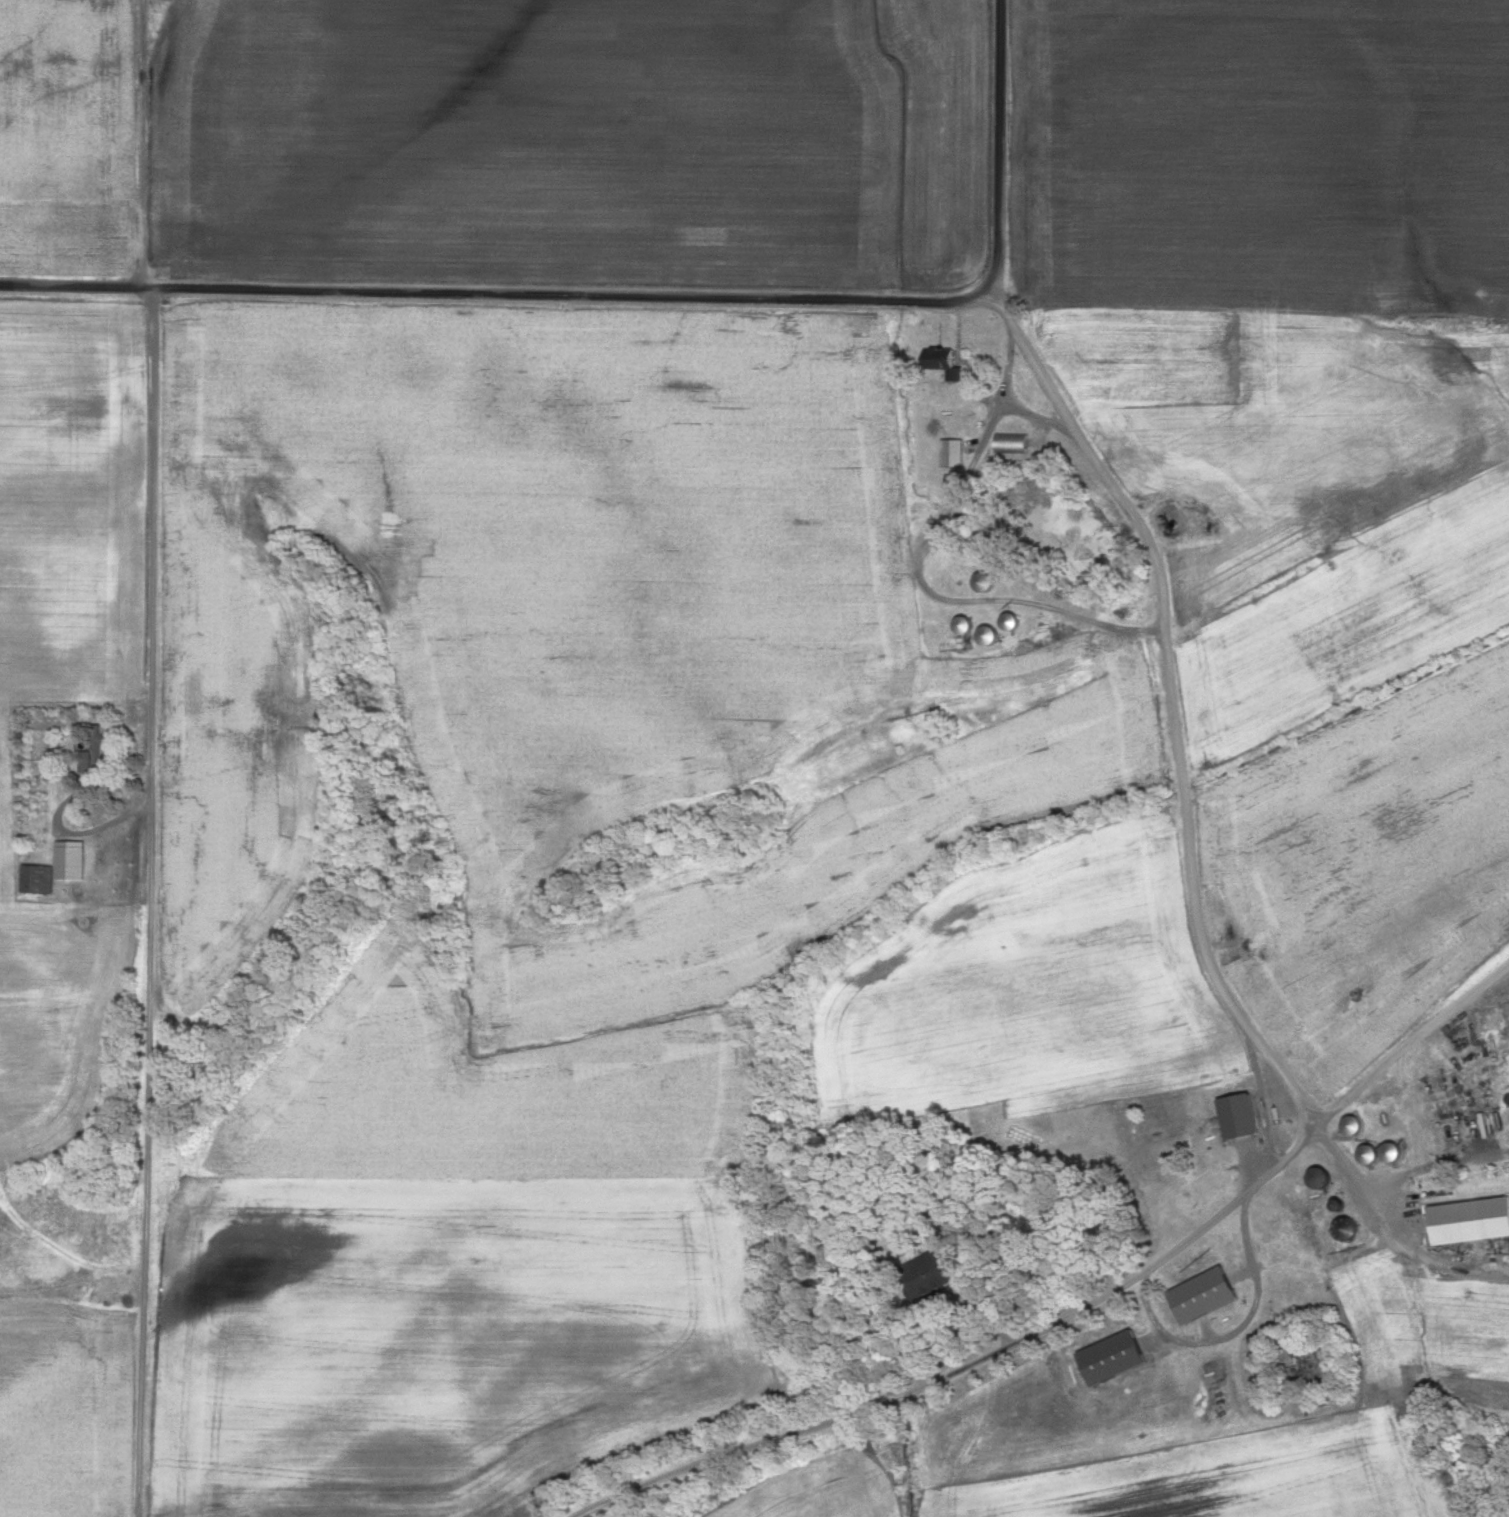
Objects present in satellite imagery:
road: (500, 295)
building: (950, 365)
road: (1039, 423)
building: (1012, 443)
building: (953, 454)
road: (1160, 558)
road: (924, 575)
building: (985, 583)
building: (1018, 623)
building: (967, 626)
building: (988, 638)
building: (94, 749)
road: (155, 758)
road: (105, 828)
building: (38, 879)
petroleum well: (1230, 932)
road: (1413, 1044)
road: (1259, 1098)
building: (1242, 1117)
building: (1355, 1126)
building: (1467, 1126)
building: (1385, 1154)
road: (1431, 1170)
building: (1321, 1179)
building: (1469, 1221)
road: (1389, 1235)
building: (930, 1276)
building: (1207, 1295)
building: (1117, 1358)
road: (972, 1364)

